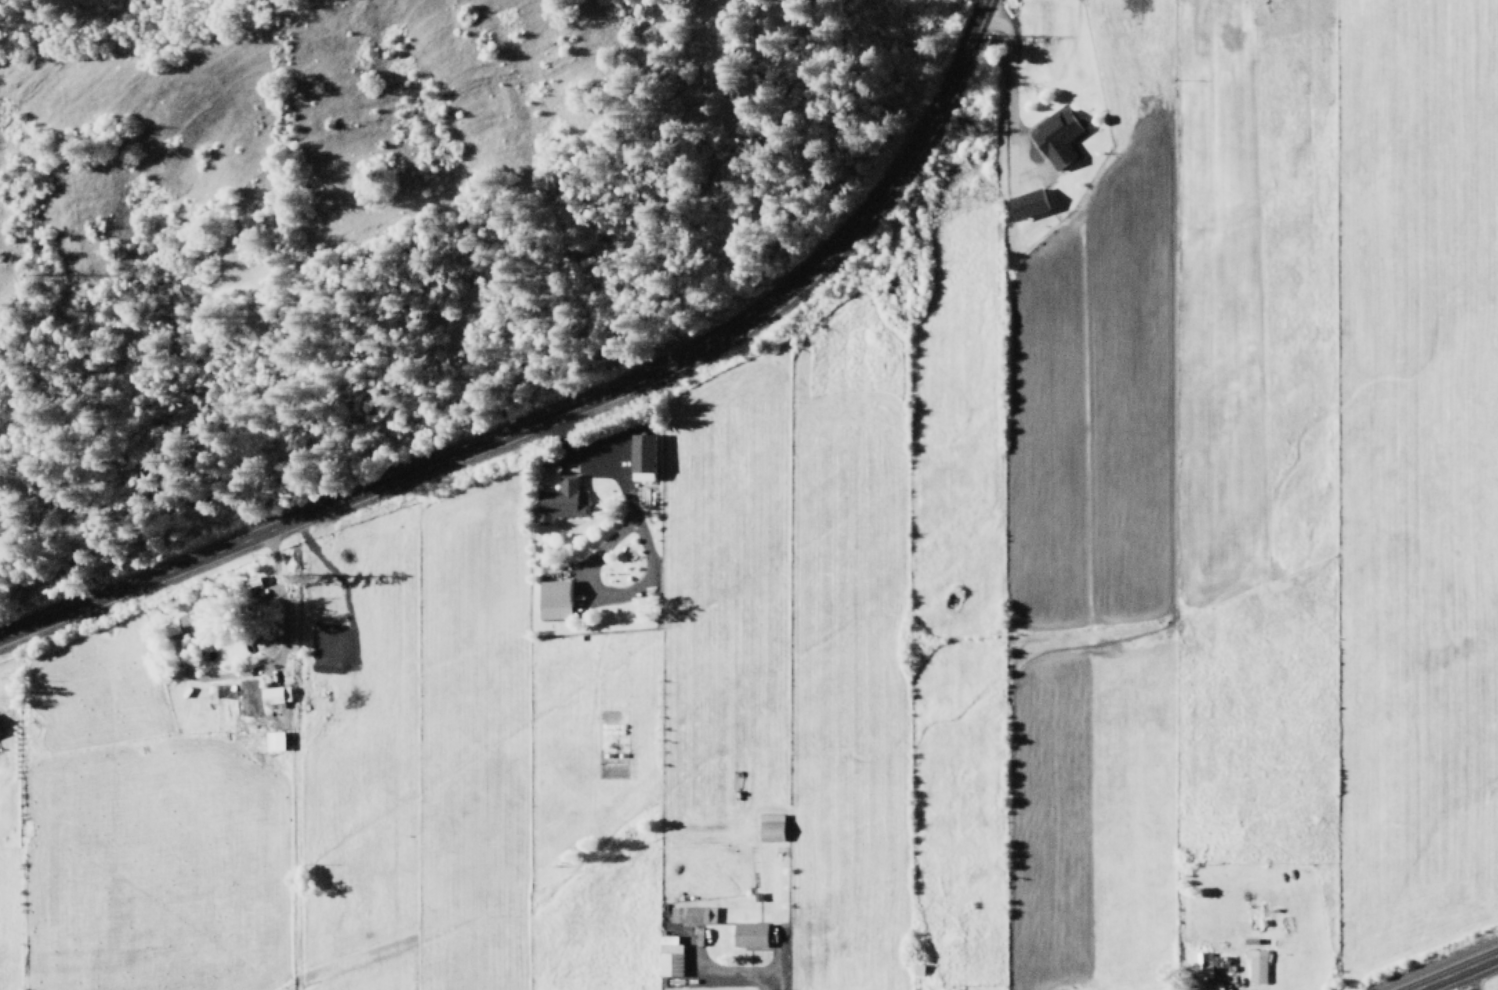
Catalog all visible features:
building: (1055, 136)
building: (1026, 203)
road: (560, 408)
building: (640, 456)
building: (560, 500)
building: (553, 599)
building: (185, 622)
building: (273, 694)
building: (272, 740)
building: (769, 827)
building: (694, 914)
building: (748, 934)
building: (668, 956)
building: (1198, 964)
building: (1255, 965)
building: (916, 969)
road: (1451, 970)

